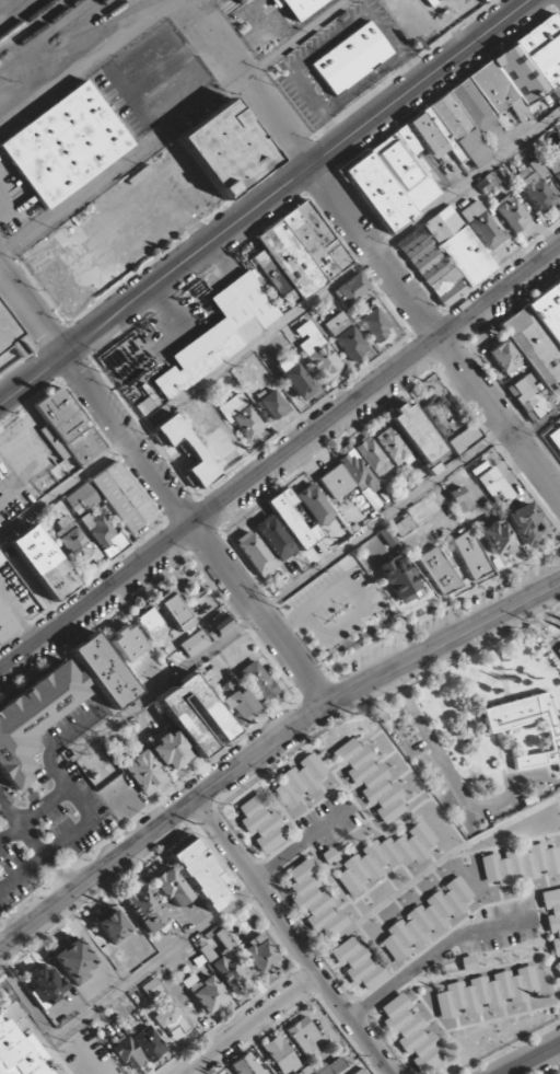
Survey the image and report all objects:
railway: (154, 1)
building: (481, 1)
railway: (233, 5)
building: (299, 7)
railway: (12, 9)
railway: (26, 20)
railway: (105, 23)
railway: (42, 28)
building: (350, 58)
building: (452, 127)
road: (281, 128)
road: (174, 130)
building: (63, 143)
building: (225, 148)
building: (553, 165)
building: (487, 182)
building: (537, 187)
road: (266, 201)
building: (511, 212)
building: (482, 224)
building: (302, 250)
building: (445, 256)
building: (351, 289)
building: (61, 290)
road: (279, 323)
building: (374, 323)
building: (221, 333)
building: (10, 336)
building: (346, 336)
building: (539, 336)
building: (317, 351)
building: (505, 359)
building: (2, 368)
road: (466, 374)
building: (294, 378)
road: (97, 397)
building: (527, 397)
building: (273, 404)
building: (241, 416)
road: (538, 423)
building: (67, 428)
building: (416, 432)
building: (555, 438)
building: (464, 439)
building: (393, 448)
building: (198, 454)
building: (372, 457)
road: (279, 462)
building: (336, 482)
building: (113, 497)
building: (459, 499)
building: (314, 505)
building: (512, 510)
building: (291, 519)
building: (402, 526)
building: (102, 533)
building: (275, 538)
building: (497, 538)
building: (73, 541)
building: (254, 554)
building: (470, 554)
building: (43, 563)
building: (439, 570)
building: (400, 579)
road: (289, 587)
building: (174, 611)
road: (259, 614)
building: (151, 624)
building: (5, 625)
building: (221, 625)
building: (128, 643)
building: (194, 644)
building: (558, 650)
building: (103, 671)
building: (209, 675)
building: (258, 681)
building: (238, 705)
building: (180, 717)
building: (34, 718)
building: (501, 726)
road: (267, 746)
building: (170, 749)
building: (145, 772)
building: (370, 779)
building: (299, 781)
building: (260, 822)
road: (39, 835)
building: (328, 856)
building: (384, 857)
building: (521, 864)
building: (200, 874)
building: (170, 887)
building: (314, 901)
building: (144, 908)
building: (427, 919)
building: (552, 921)
building: (113, 926)
road: (291, 938)
building: (260, 955)
building: (73, 960)
building: (230, 963)
building: (358, 963)
building: (45, 985)
building: (151, 988)
building: (486, 992)
building: (205, 993)
building: (173, 1021)
road: (252, 1025)
building: (410, 1033)
building: (307, 1038)
building: (148, 1043)
building: (20, 1052)
building: (128, 1053)
building: (284, 1058)
road: (533, 1060)
building: (246, 1065)
building: (331, 1066)
building: (361, 1072)

